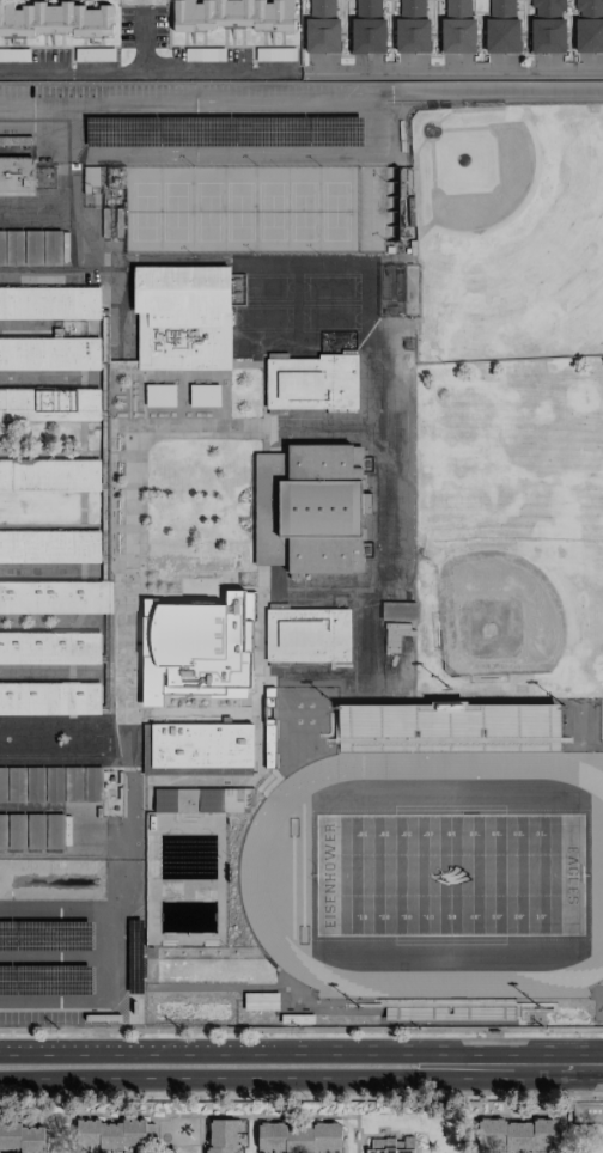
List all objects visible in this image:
building: (230, 14)
building: (54, 19)
building: (547, 25)
building: (589, 25)
building: (322, 26)
building: (412, 26)
building: (501, 26)
building: (367, 28)
building: (457, 28)
road: (141, 39)
building: (275, 54)
road: (147, 67)
road: (458, 68)
road: (301, 92)
building: (16, 173)
park: (207, 209)
park: (144, 211)
park: (175, 211)
park: (238, 211)
park: (270, 211)
park: (334, 211)
park: (303, 212)
building: (30, 248)
building: (49, 301)
building: (182, 316)
building: (48, 353)
building: (311, 383)
building: (159, 395)
building: (203, 395)
building: (49, 403)
building: (357, 456)
building: (50, 475)
building: (306, 507)
building: (49, 545)
building: (55, 596)
building: (398, 610)
building: (306, 635)
building: (394, 635)
building: (49, 647)
building: (194, 647)
building: (49, 697)
building: (196, 749)
track: (579, 763)
track: (580, 774)
building: (50, 783)
building: (164, 799)
building: (217, 799)
building: (31, 830)
park: (447, 874)
track: (251, 901)
building: (260, 1001)
road: (300, 1030)
road: (226, 1049)
road: (579, 1062)
road: (502, 1063)
road: (226, 1076)
road: (301, 1093)
building: (587, 1112)
building: (109, 1133)
building: (517, 1133)
building: (220, 1135)
building: (22, 1137)
building: (298, 1137)
building: (390, 1145)

